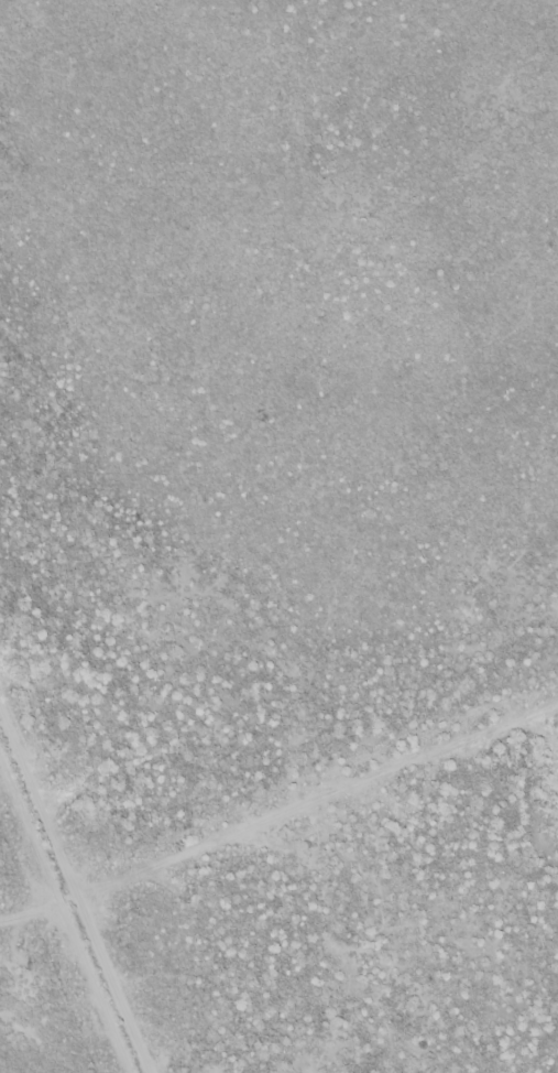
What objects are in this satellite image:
road: (278, 814)

